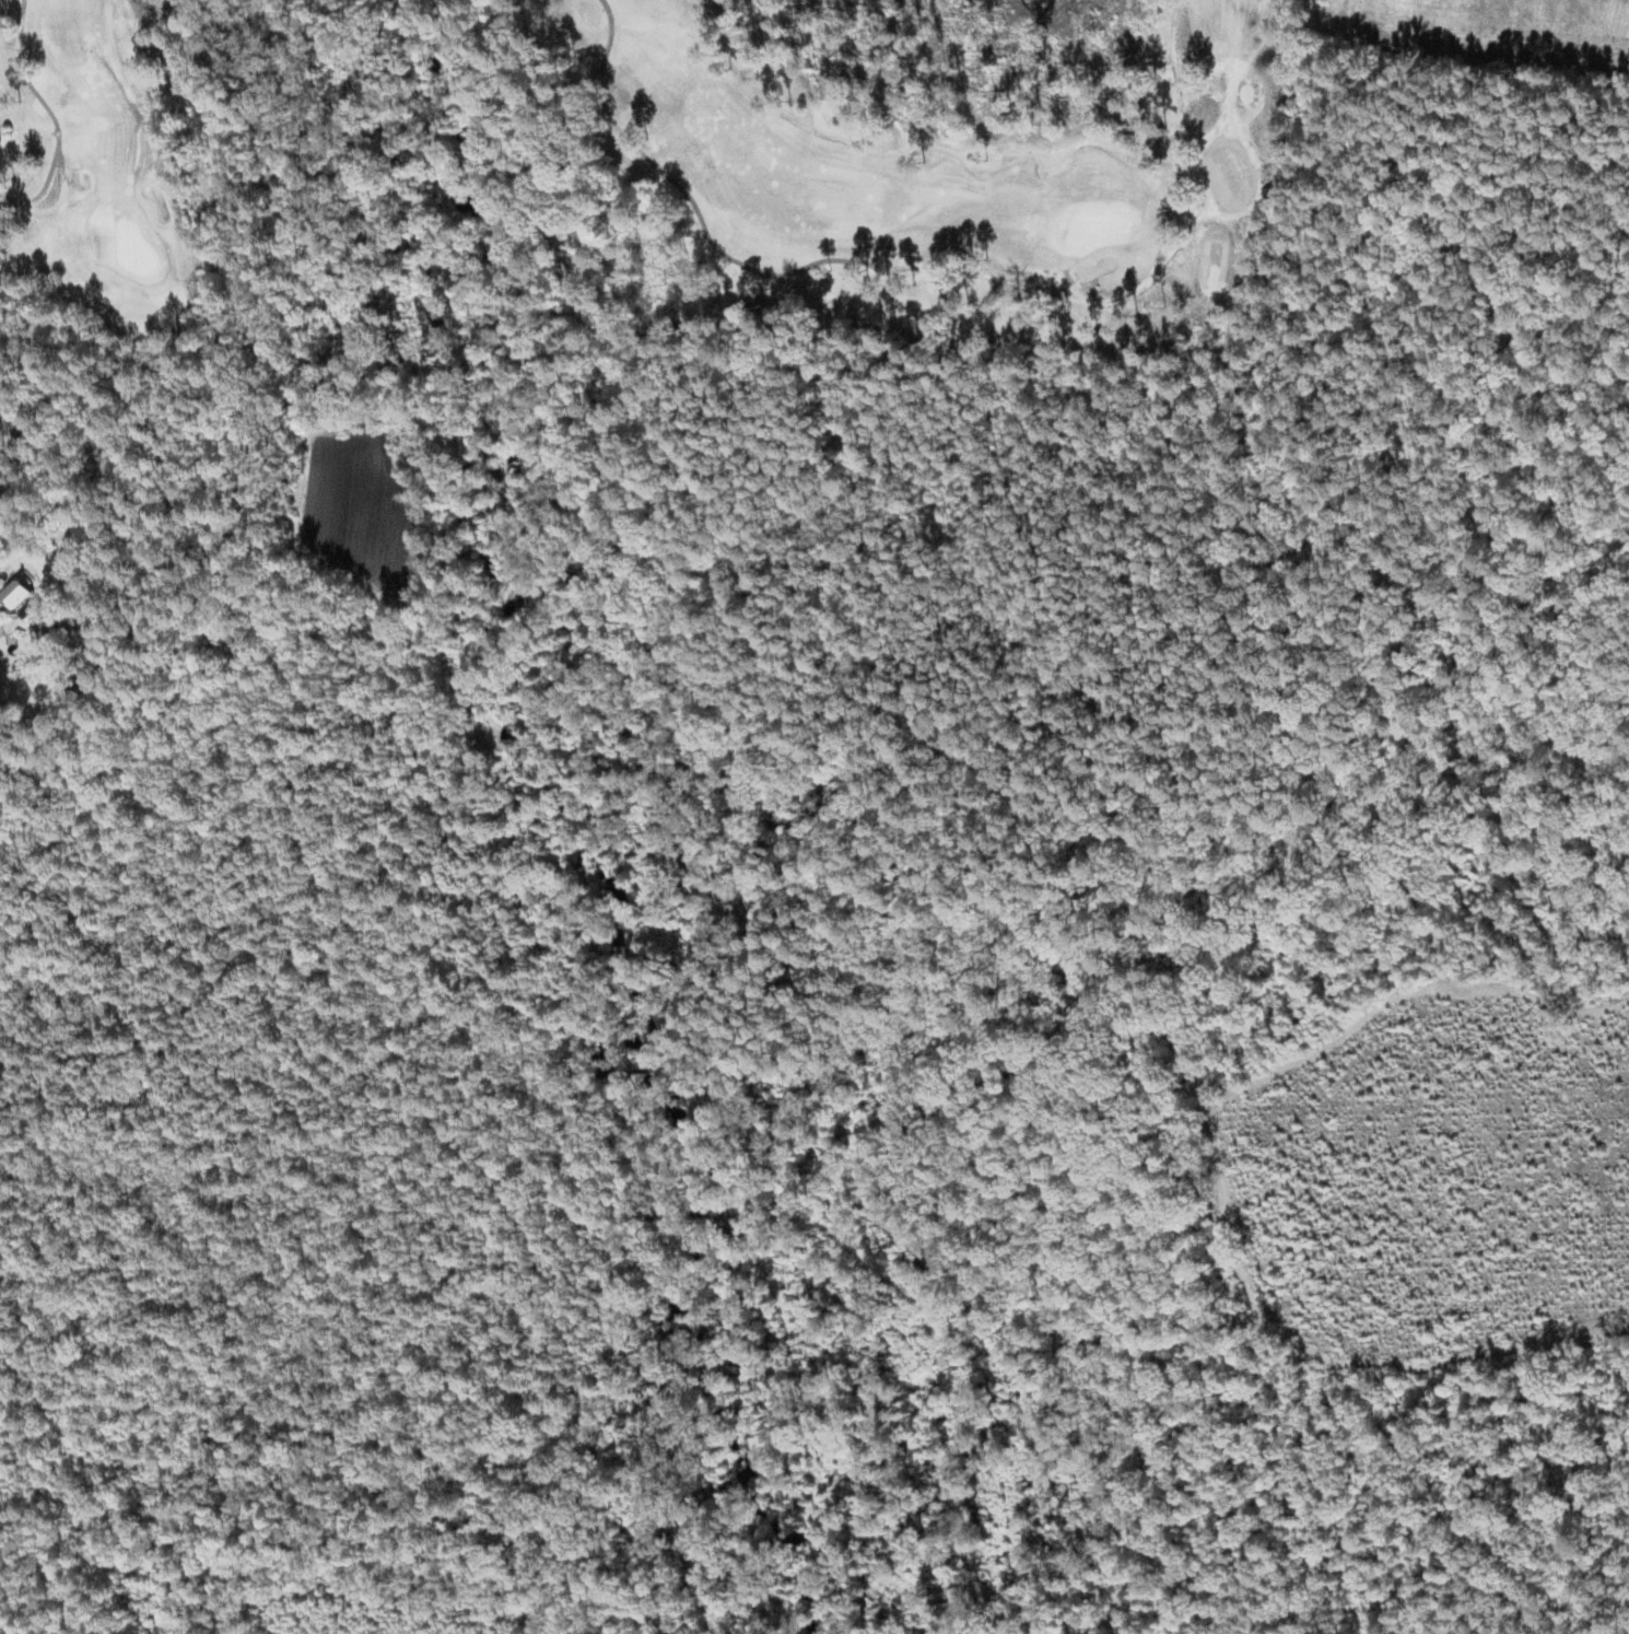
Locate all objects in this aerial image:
park: (941, 144)
park: (90, 205)
building: (16, 592)

